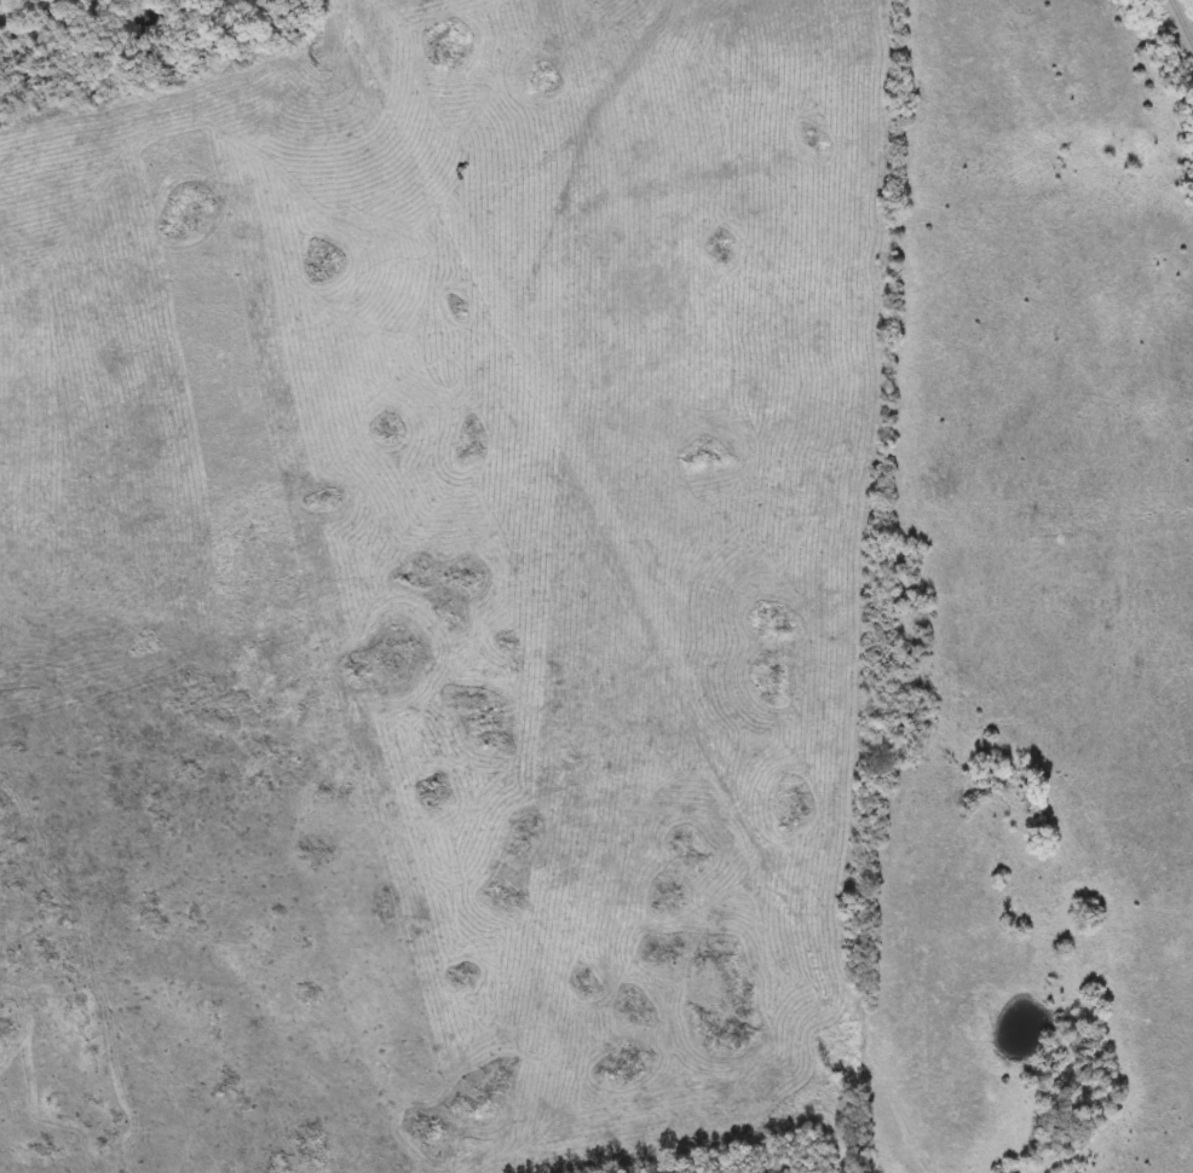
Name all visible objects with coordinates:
railway: (1183, 17)

